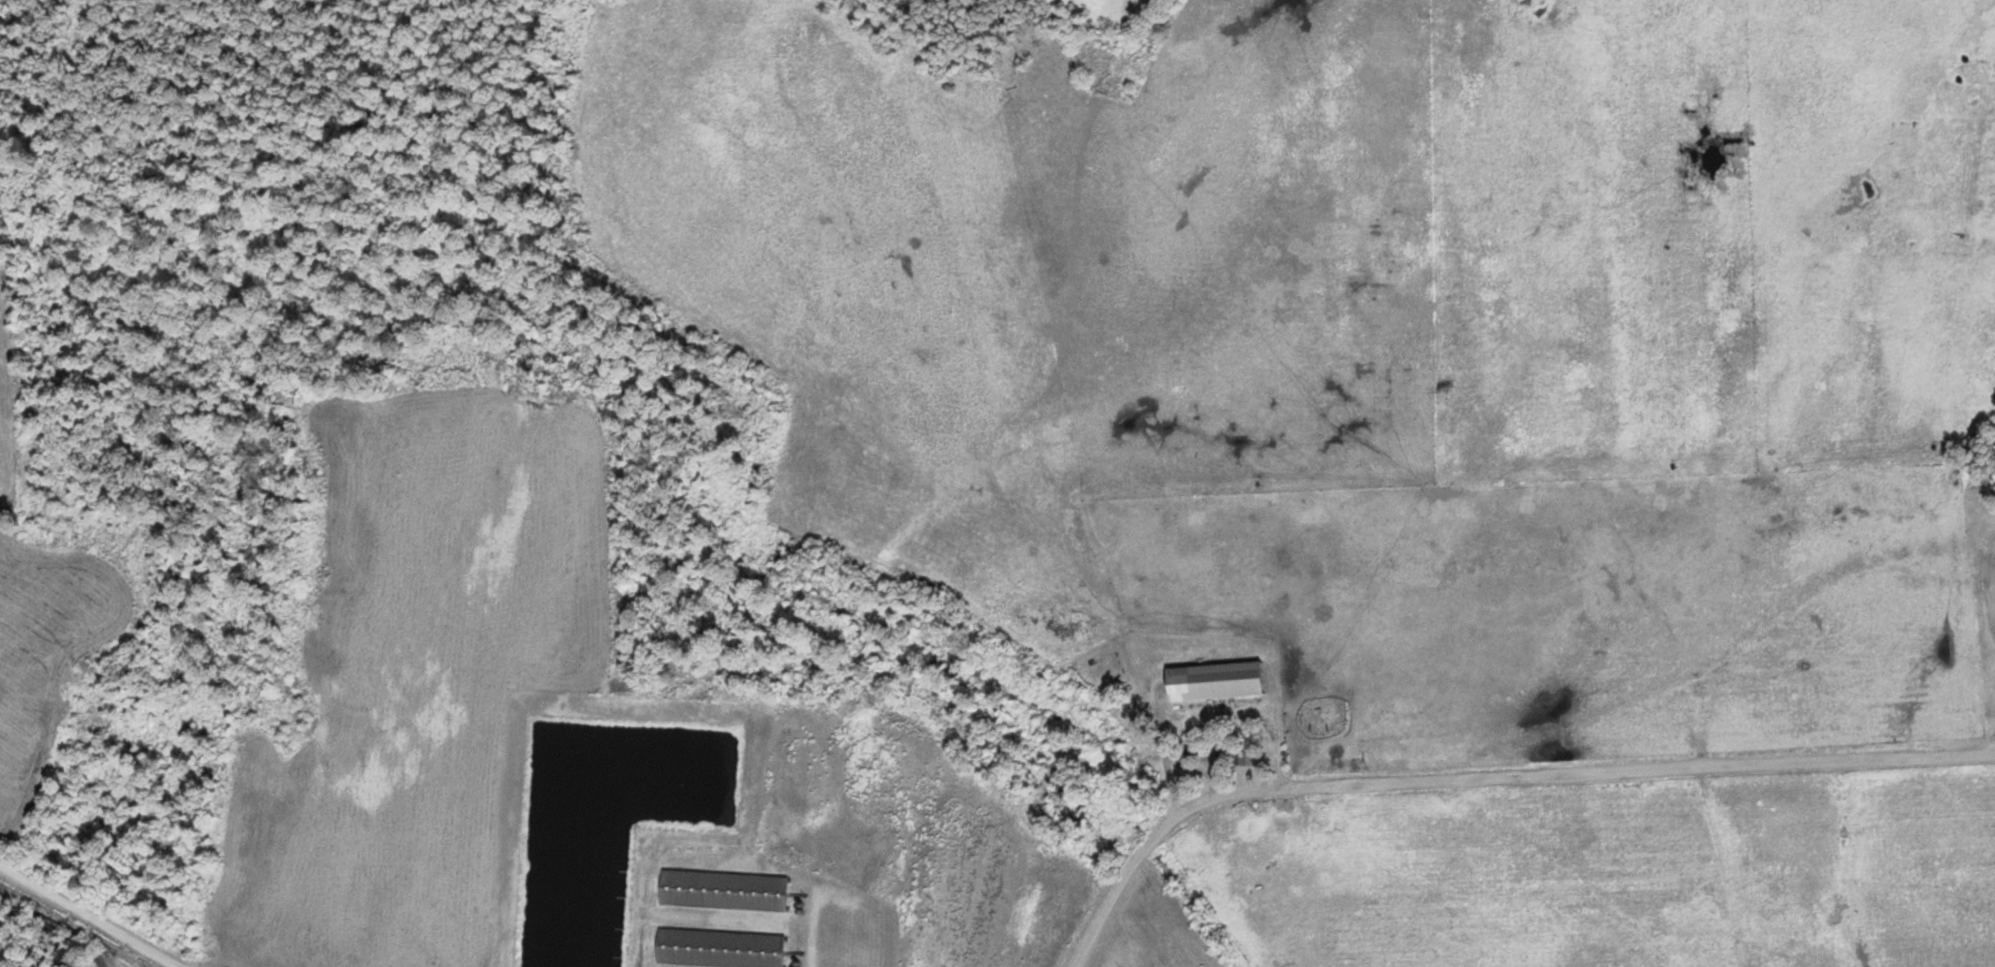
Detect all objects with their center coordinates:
building: (1212, 681)
building: (1221, 750)
building: (1245, 756)
road: (1486, 762)
building: (721, 890)
road: (92, 916)
building: (717, 948)

